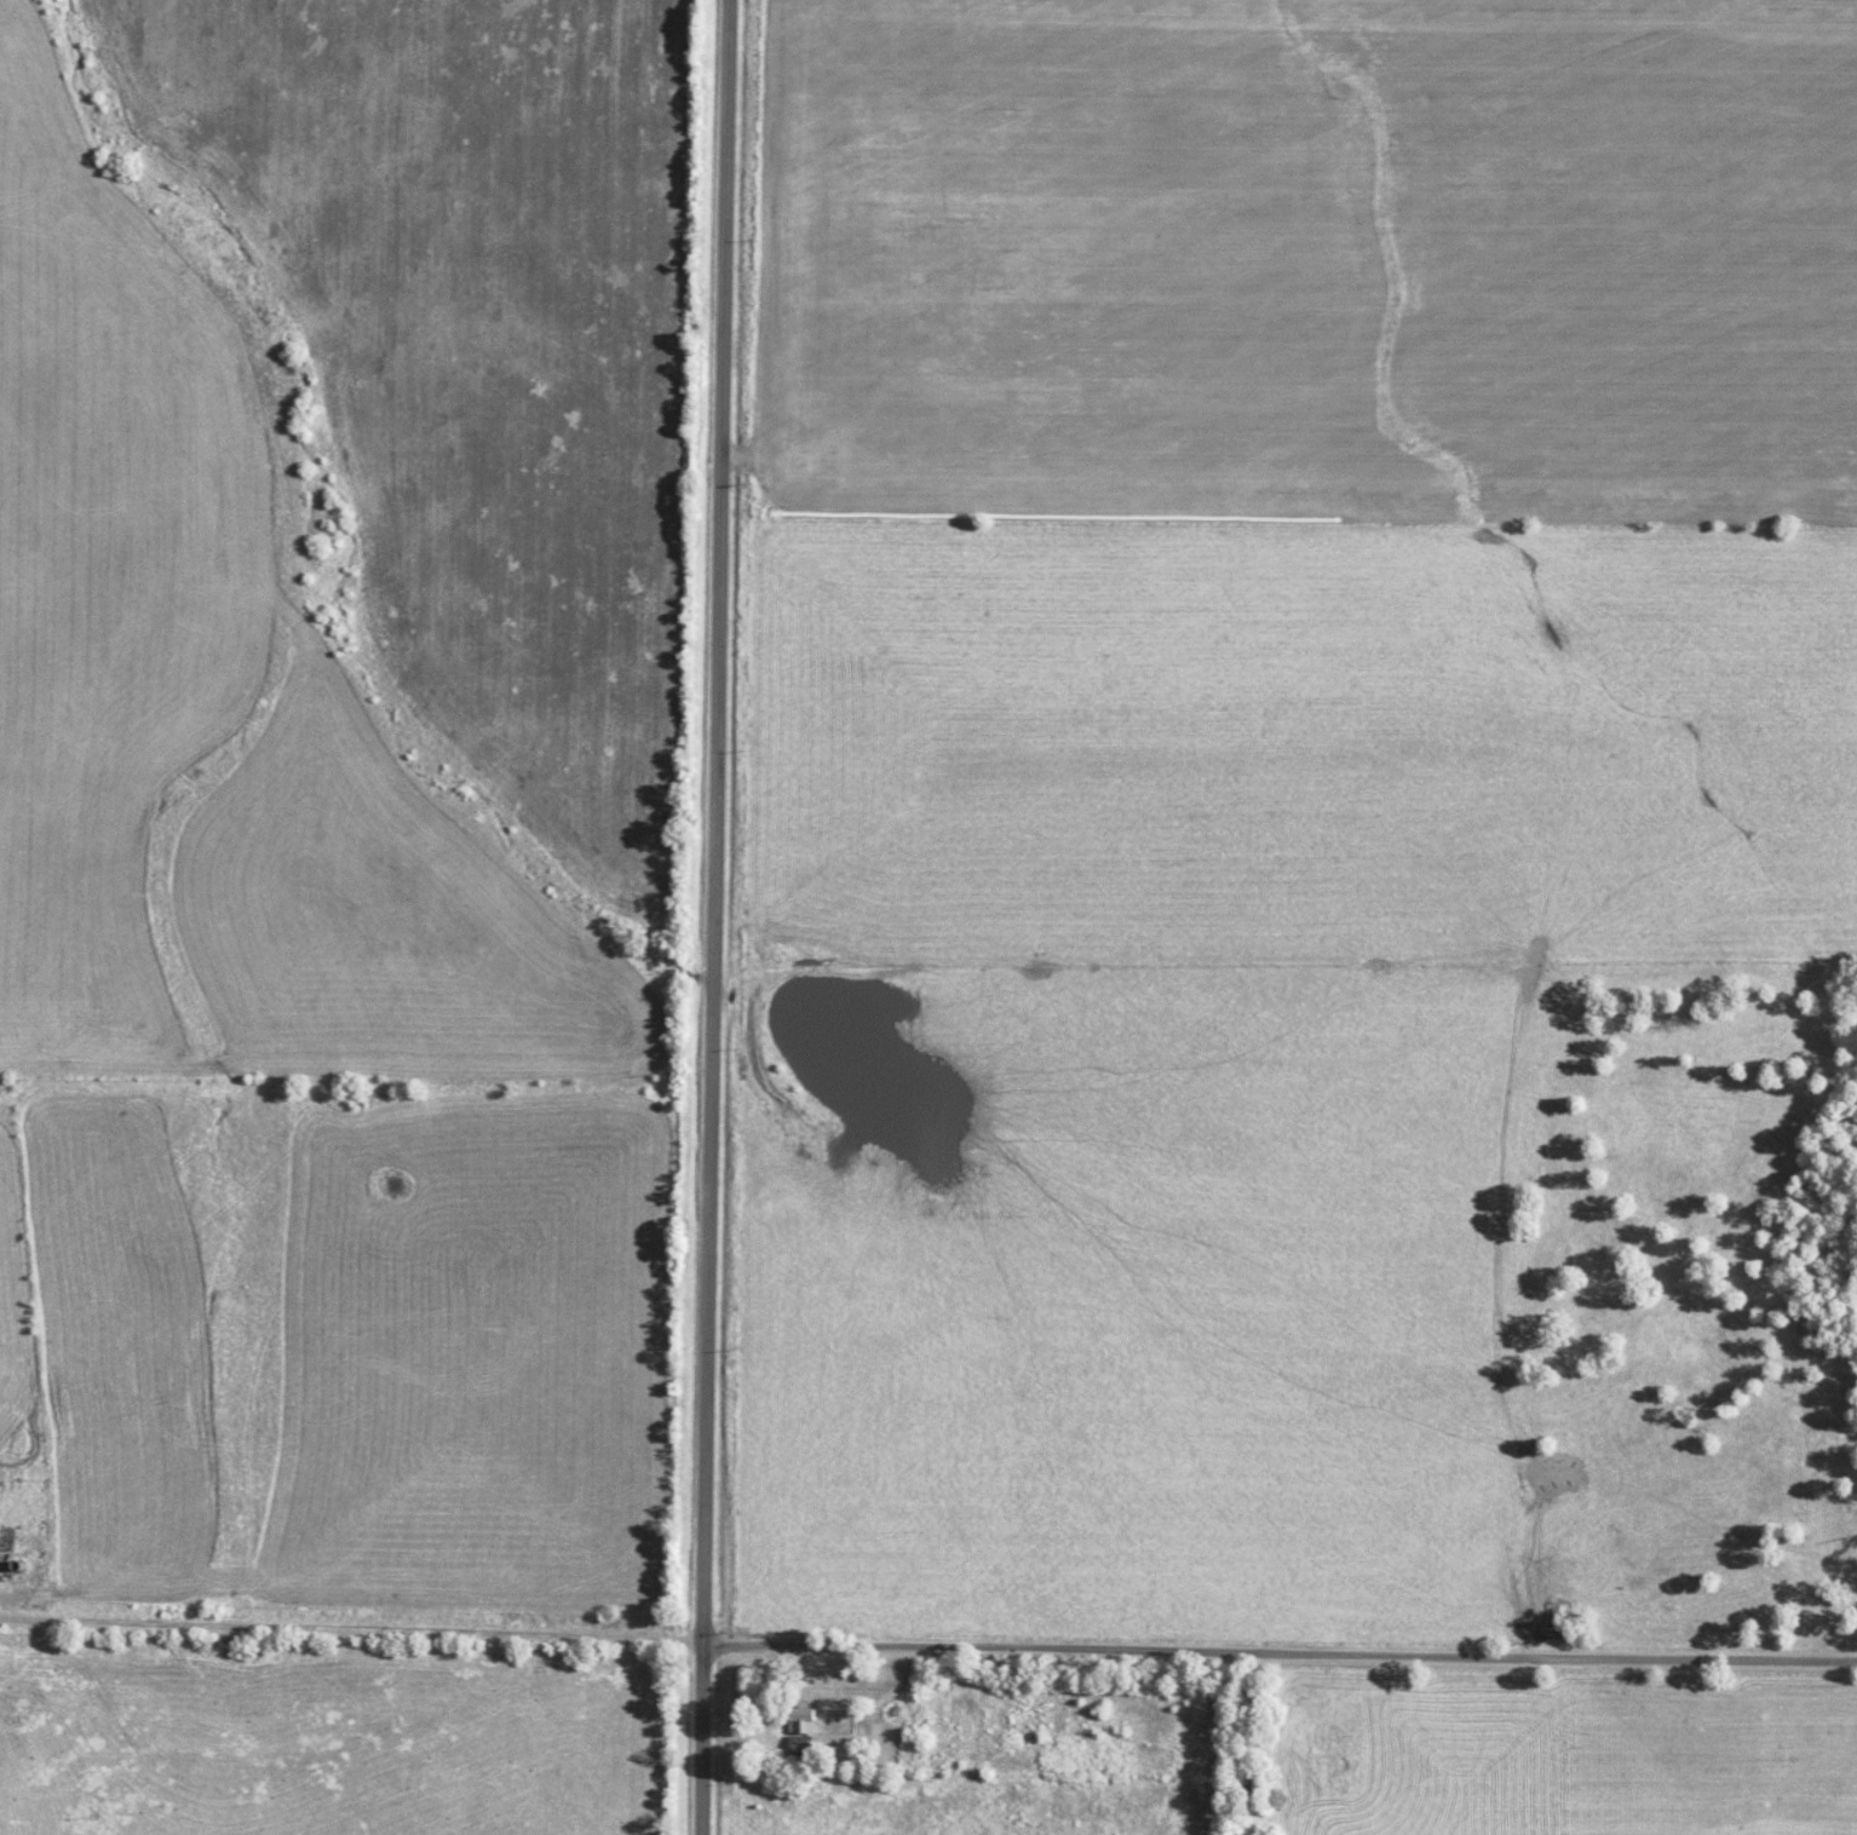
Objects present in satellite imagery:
road: (719, 917)
road: (353, 1628)
road: (1282, 1651)
building: (799, 1730)

